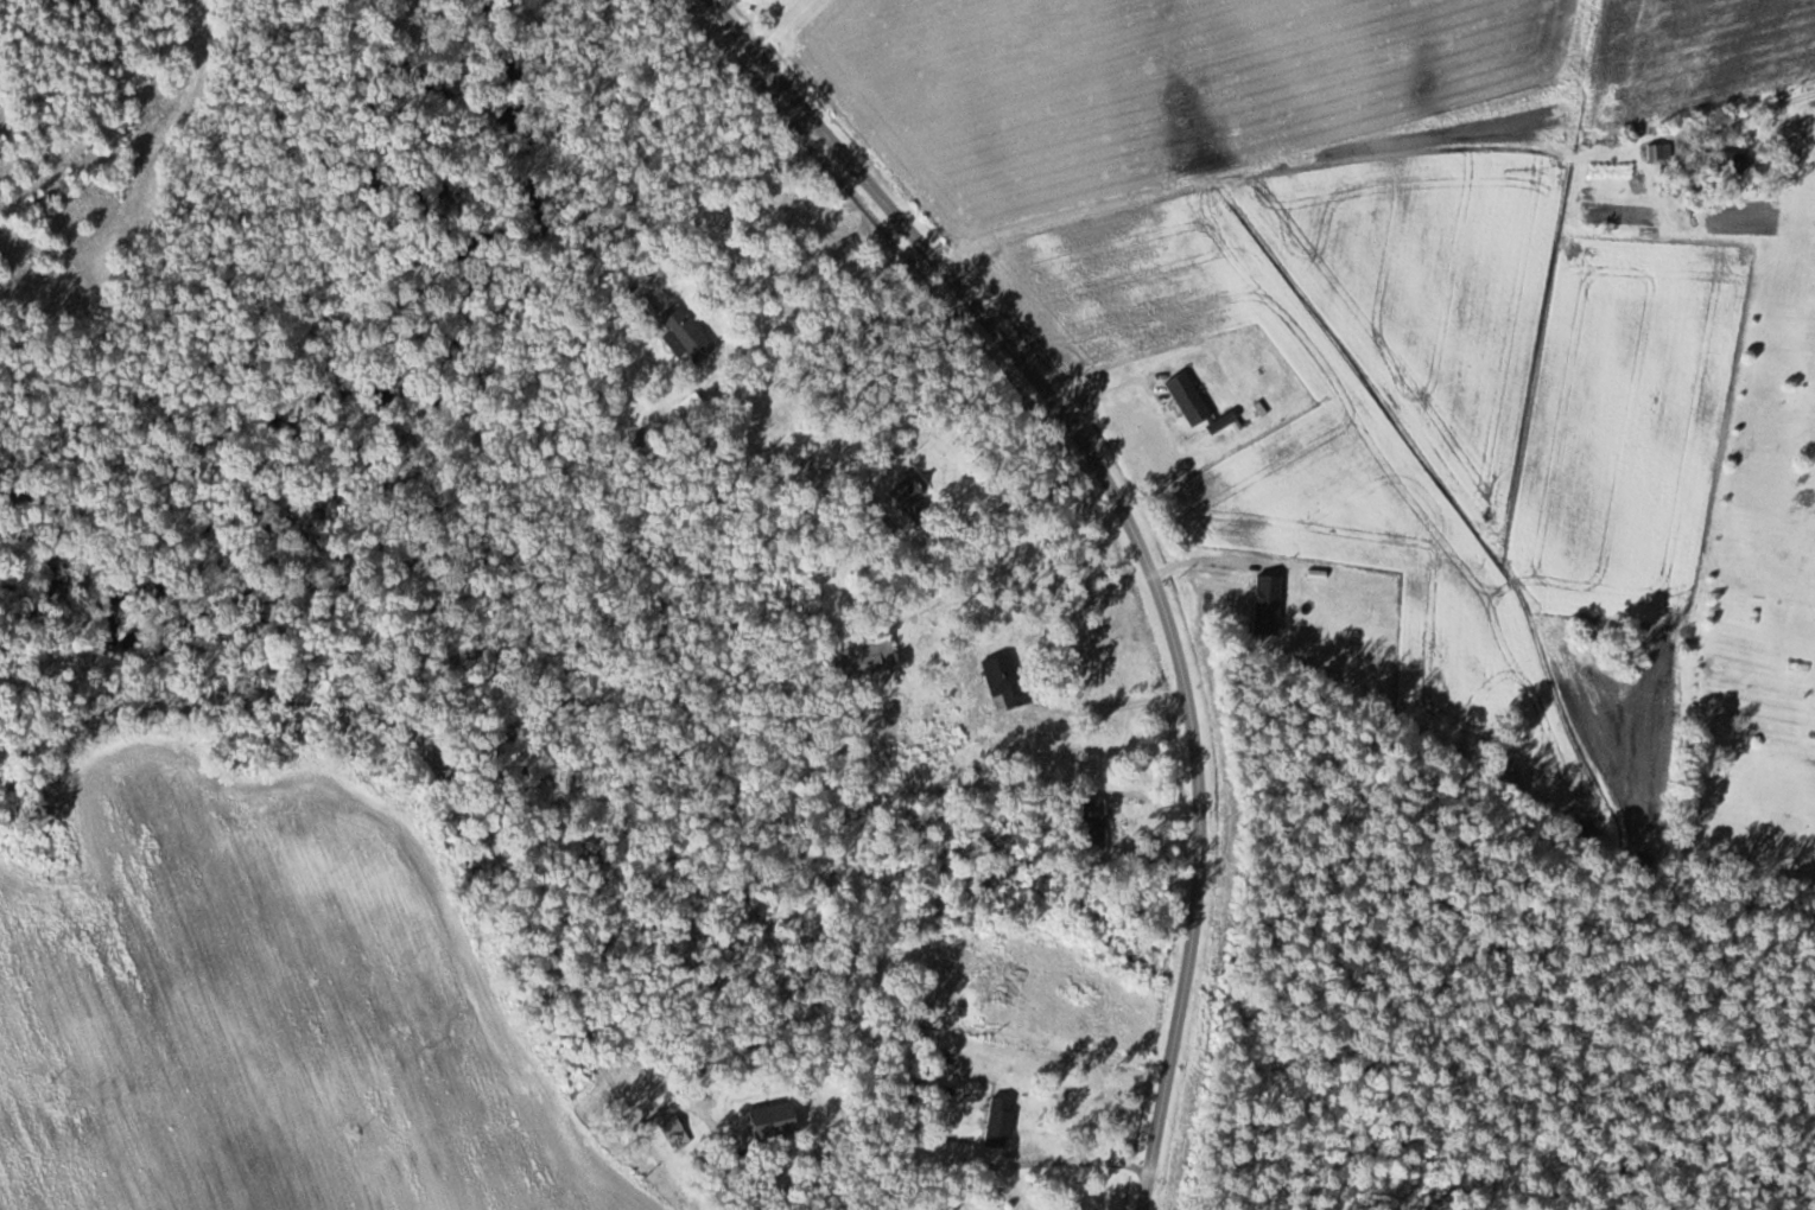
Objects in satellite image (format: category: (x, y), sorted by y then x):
building: (590, 83)
building: (1662, 153)
building: (1732, 164)
road: (1712, 247)
building: (687, 332)
river: (373, 418)
building: (910, 492)
road: (1137, 535)
building: (867, 657)
building: (1011, 683)
road: (450, 783)
building: (1096, 824)
building: (994, 979)
building: (774, 1122)
building: (672, 1126)
building: (994, 1131)

